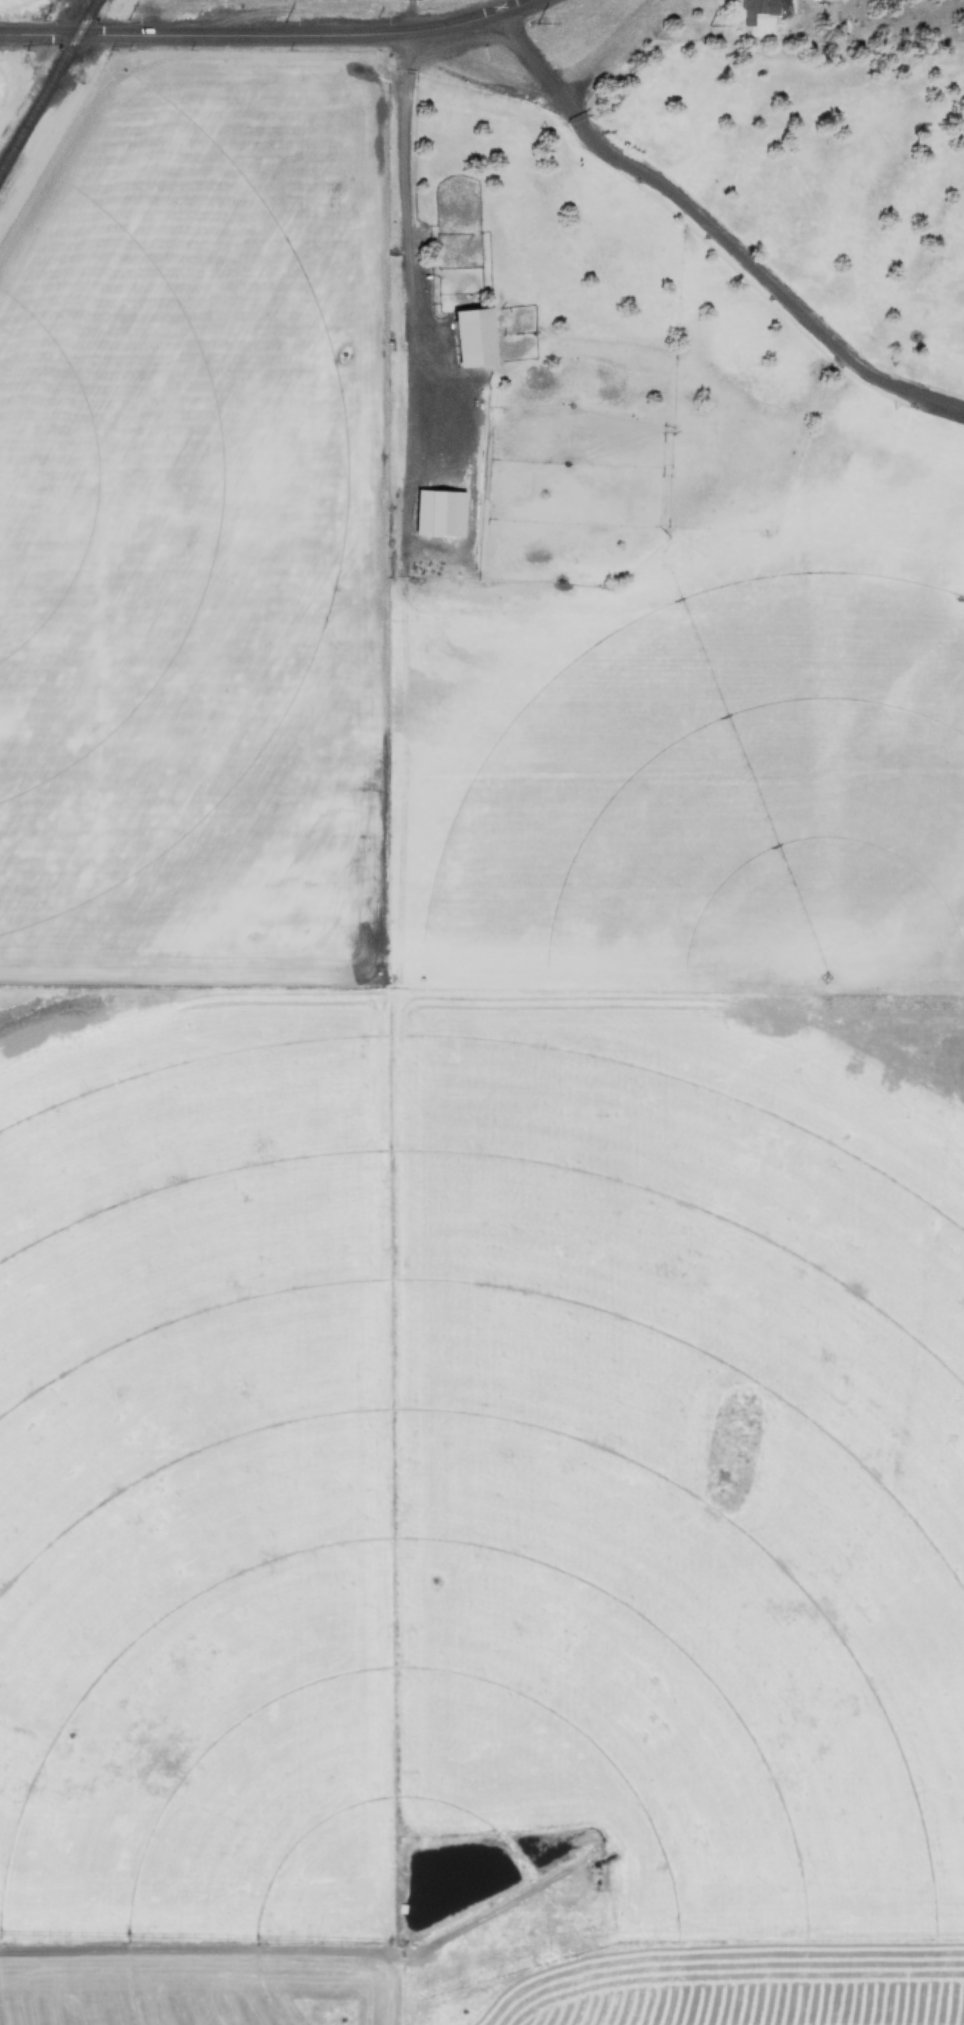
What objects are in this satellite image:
building: (753, 9)
road: (415, 16)
road: (268, 33)
railway: (49, 86)
road: (716, 230)
road: (408, 298)
building: (465, 337)
building: (434, 512)
crop: (473, 1536)
road: (311, 1950)

